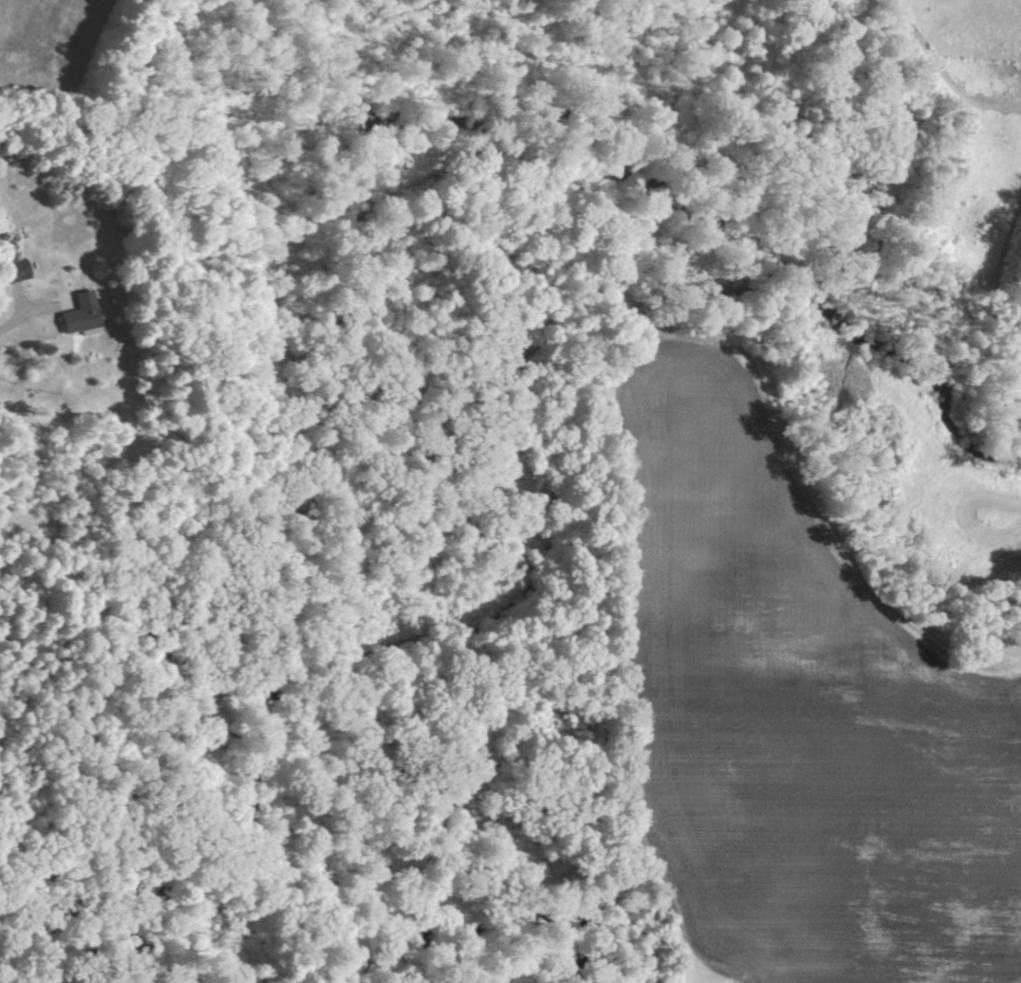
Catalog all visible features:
building: (14, 269)
road: (24, 312)
building: (77, 313)

